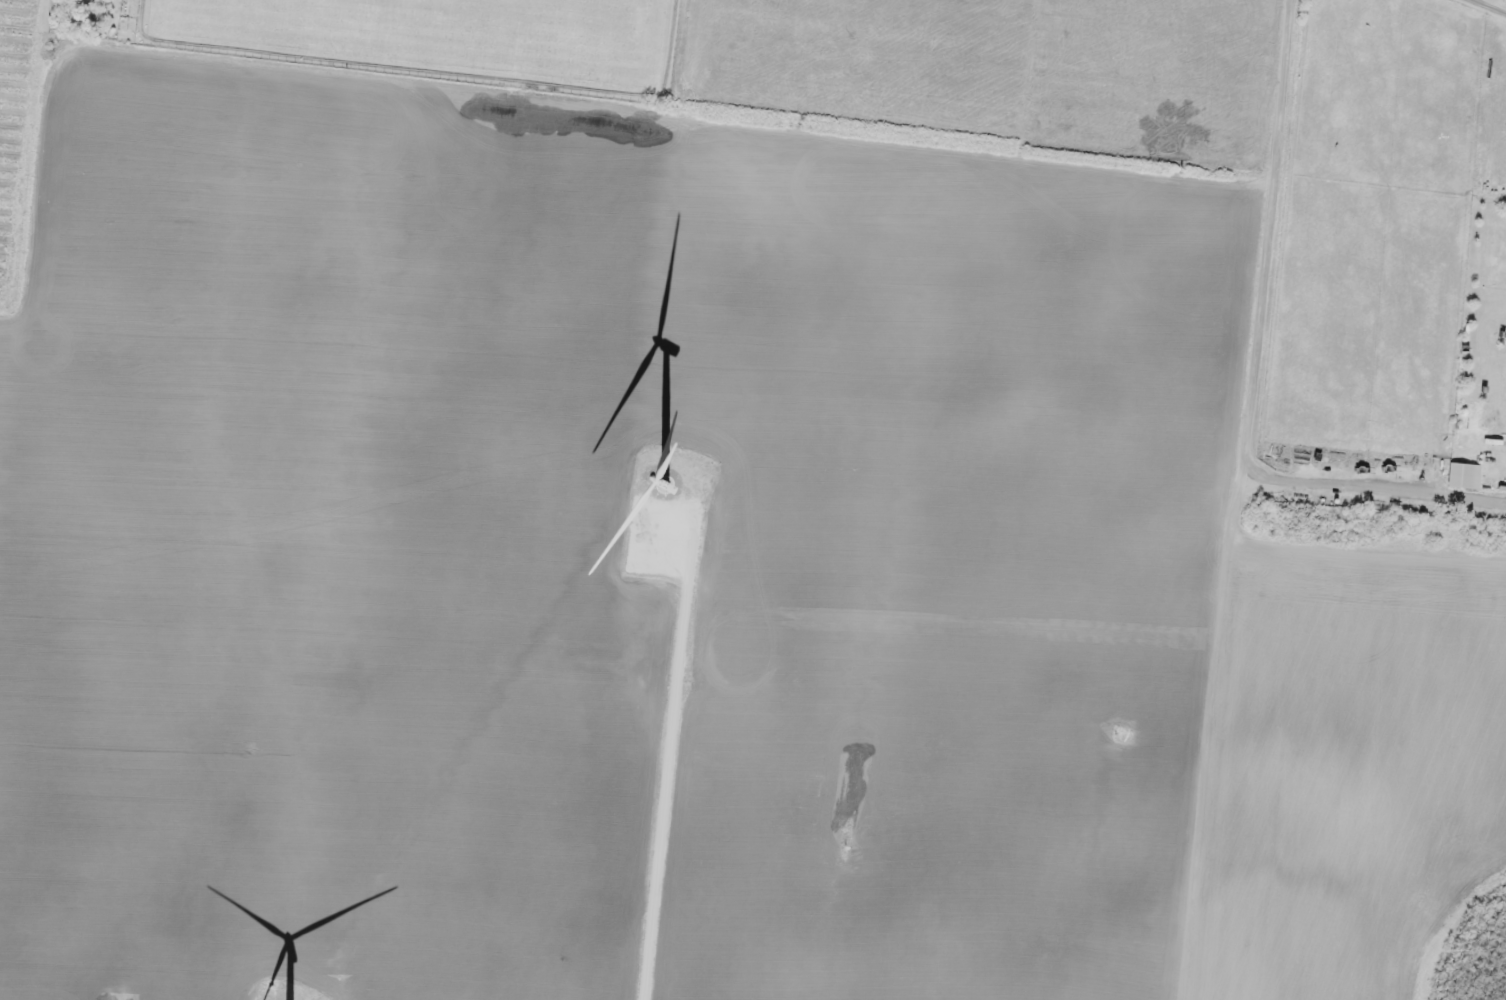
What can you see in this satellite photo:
wind turbine: (667, 491)

